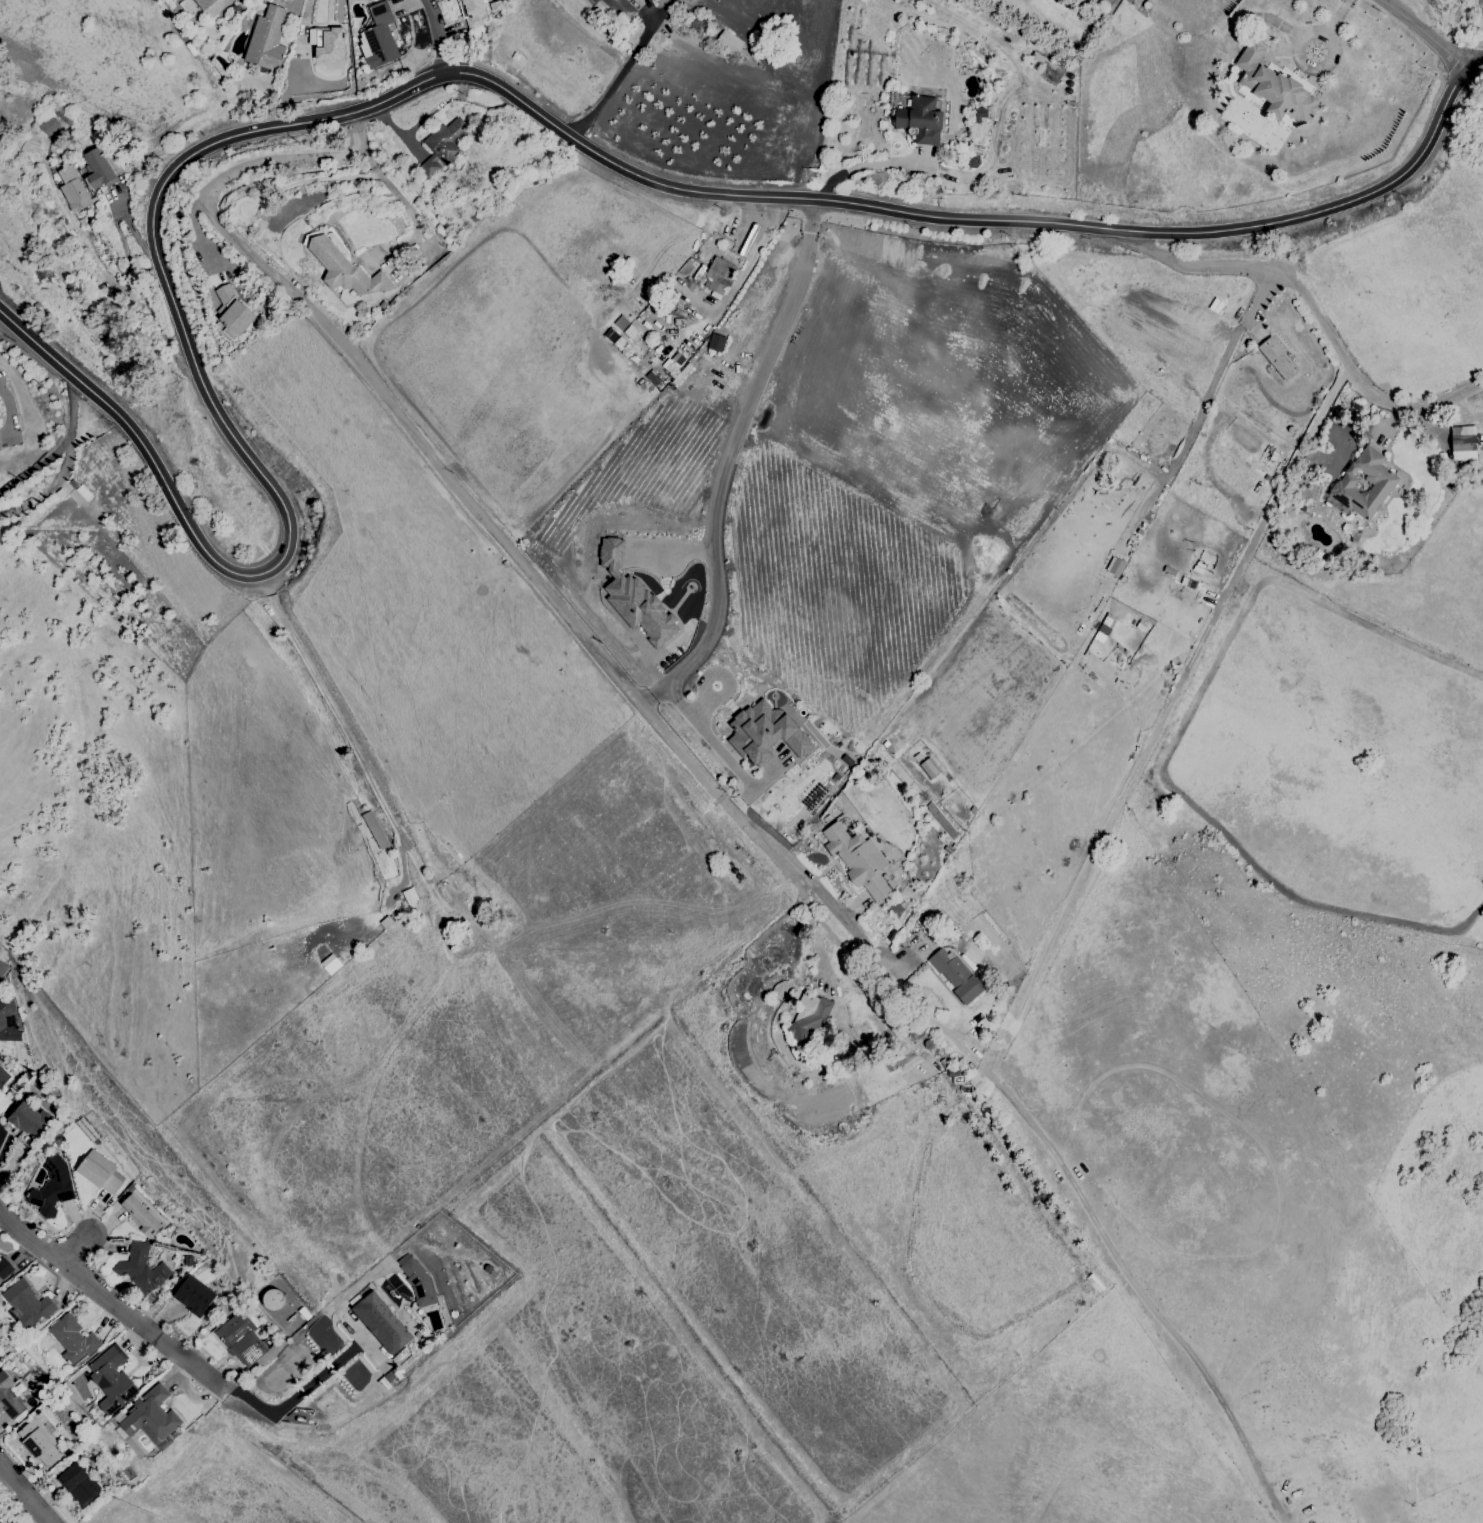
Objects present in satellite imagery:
building: (596, 1)
building: (213, 6)
building: (621, 9)
building: (475, 13)
road: (1336, 16)
road: (1422, 33)
road: (438, 35)
building: (380, 36)
building: (267, 40)
building: (728, 42)
building: (332, 45)
road: (1321, 66)
road: (625, 72)
building: (1274, 85)
building: (918, 119)
building: (48, 126)
building: (446, 139)
road: (864, 166)
building: (428, 167)
building: (99, 168)
road: (388, 187)
building: (75, 195)
road: (981, 220)
road: (132, 230)
road: (199, 236)
road: (97, 264)
building: (343, 268)
building: (717, 276)
road: (1252, 305)
building: (230, 310)
road: (1313, 311)
building: (715, 342)
building: (1276, 358)
road: (7, 414)
road: (223, 421)
building: (1462, 443)
building: (1, 444)
road: (58, 447)
road: (725, 459)
building: (1362, 484)
road: (453, 488)
building: (1114, 566)
building: (634, 598)
road: (342, 726)
building: (764, 733)
road: (716, 747)
building: (857, 860)
building: (957, 975)
road: (901, 991)
building: (805, 1018)
building: (4, 1021)
road: (983, 1070)
building: (4, 1076)
building: (29, 1120)
building: (99, 1172)
building: (53, 1187)
building: (131, 1188)
building: (140, 1216)
road: (76, 1252)
building: (188, 1260)
building: (5, 1268)
building: (141, 1268)
building: (1095, 1283)
building: (193, 1294)
building: (272, 1299)
road: (109, 1300)
building: (28, 1303)
road: (1148, 1307)
building: (382, 1323)
building: (241, 1337)
building: (73, 1339)
building: (112, 1379)
building: (17, 1388)
road: (295, 1395)
building: (10, 1399)
building: (34, 1404)
building: (153, 1418)
building: (39, 1443)
building: (79, 1484)
road: (24, 1491)

